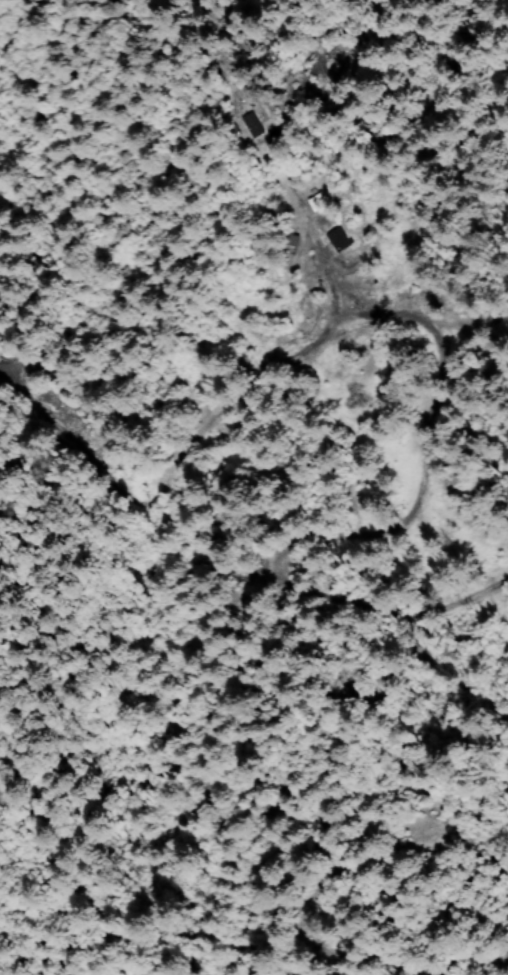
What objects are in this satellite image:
building: (255, 123)
building: (339, 240)

